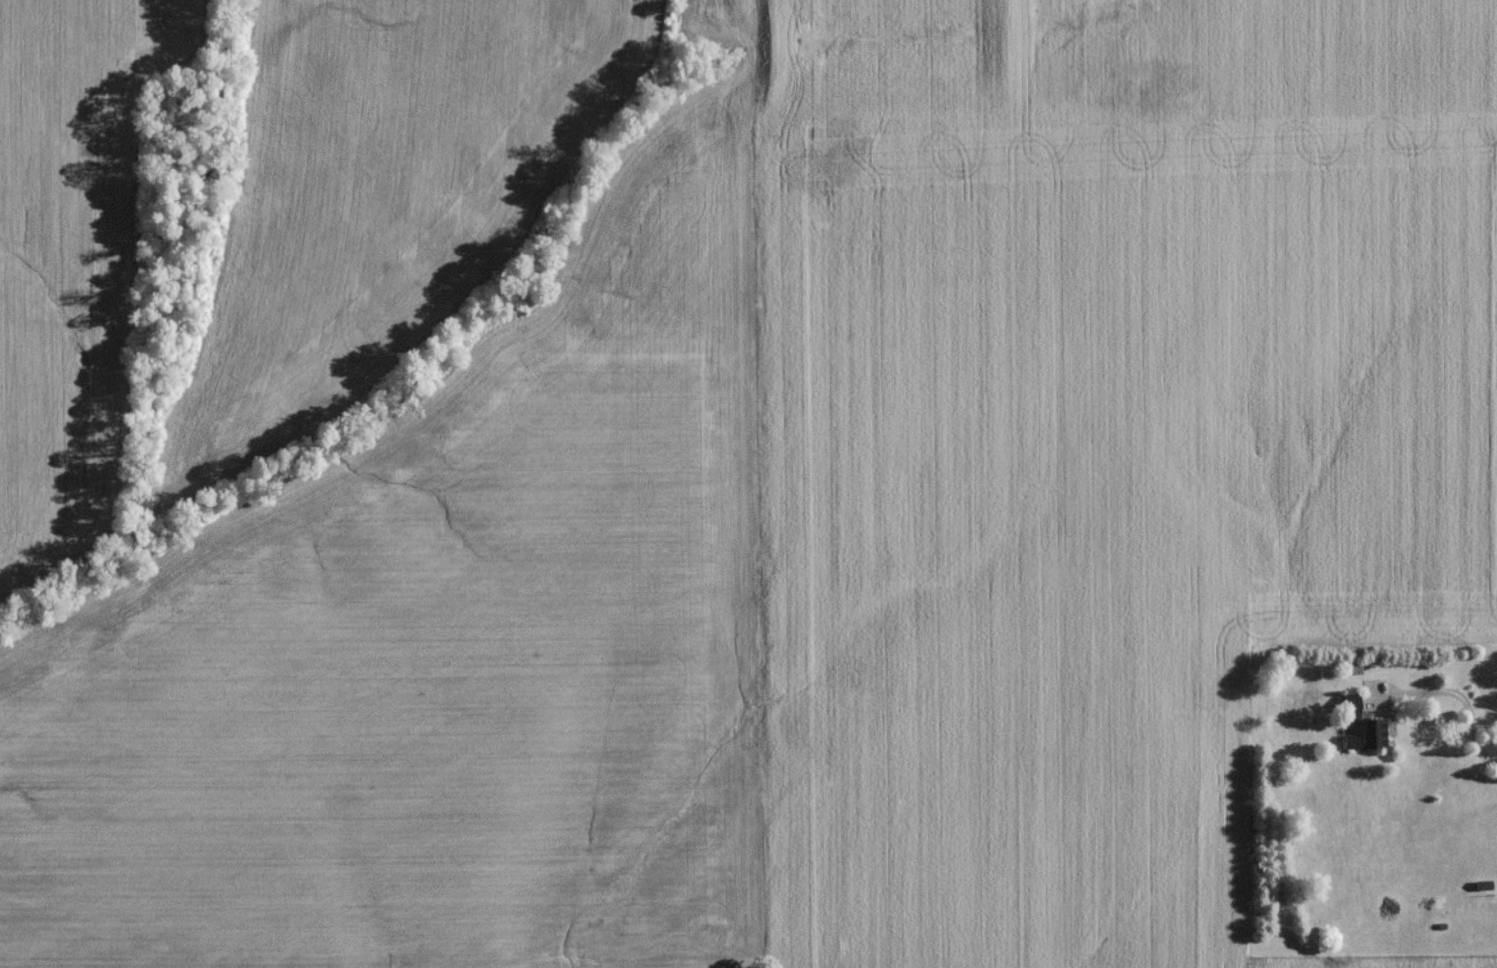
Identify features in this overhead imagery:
road: (1387, 446)
road: (1459, 698)
building: (1362, 730)

